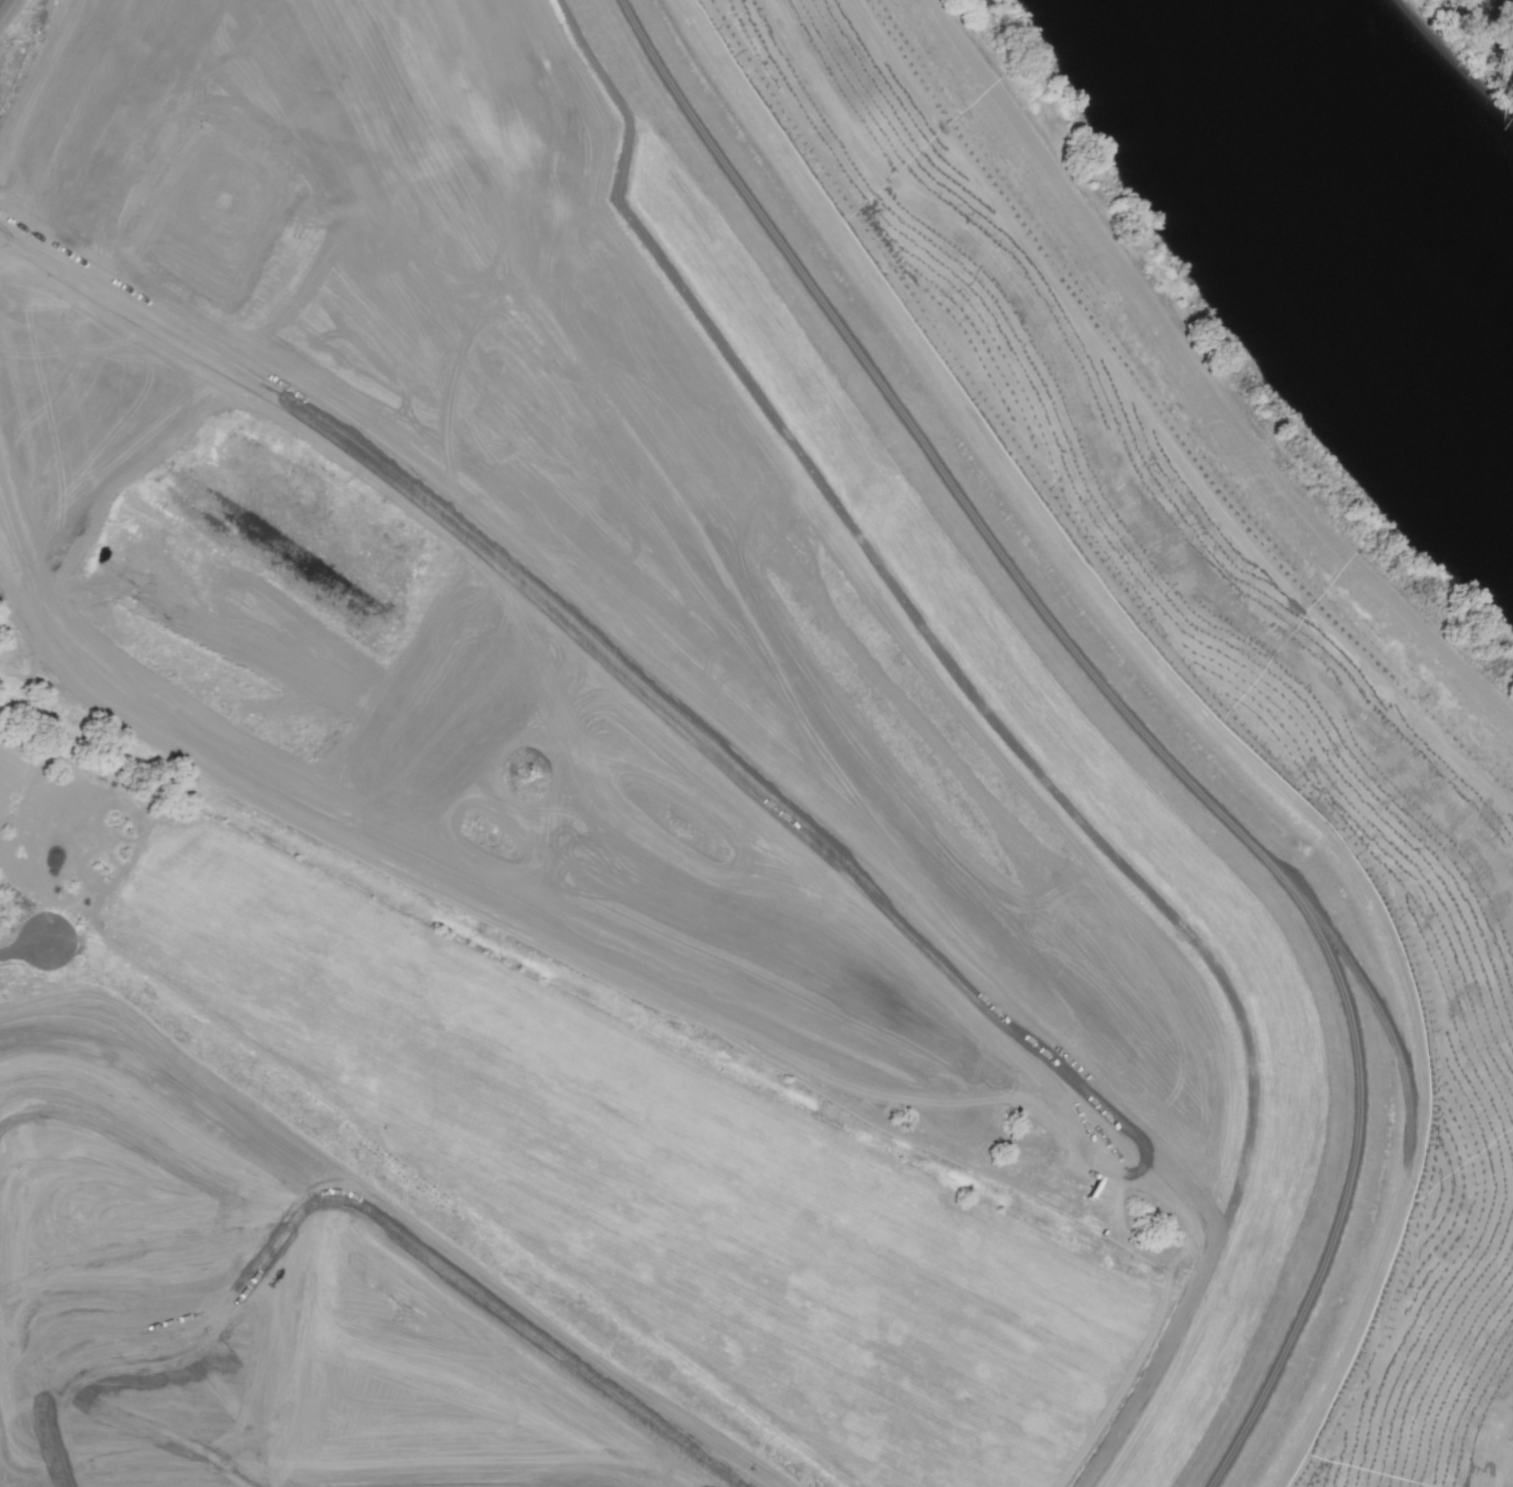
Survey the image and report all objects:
road: (2, 2)
river: (1335, 192)
road: (1198, 382)
road: (23, 945)

